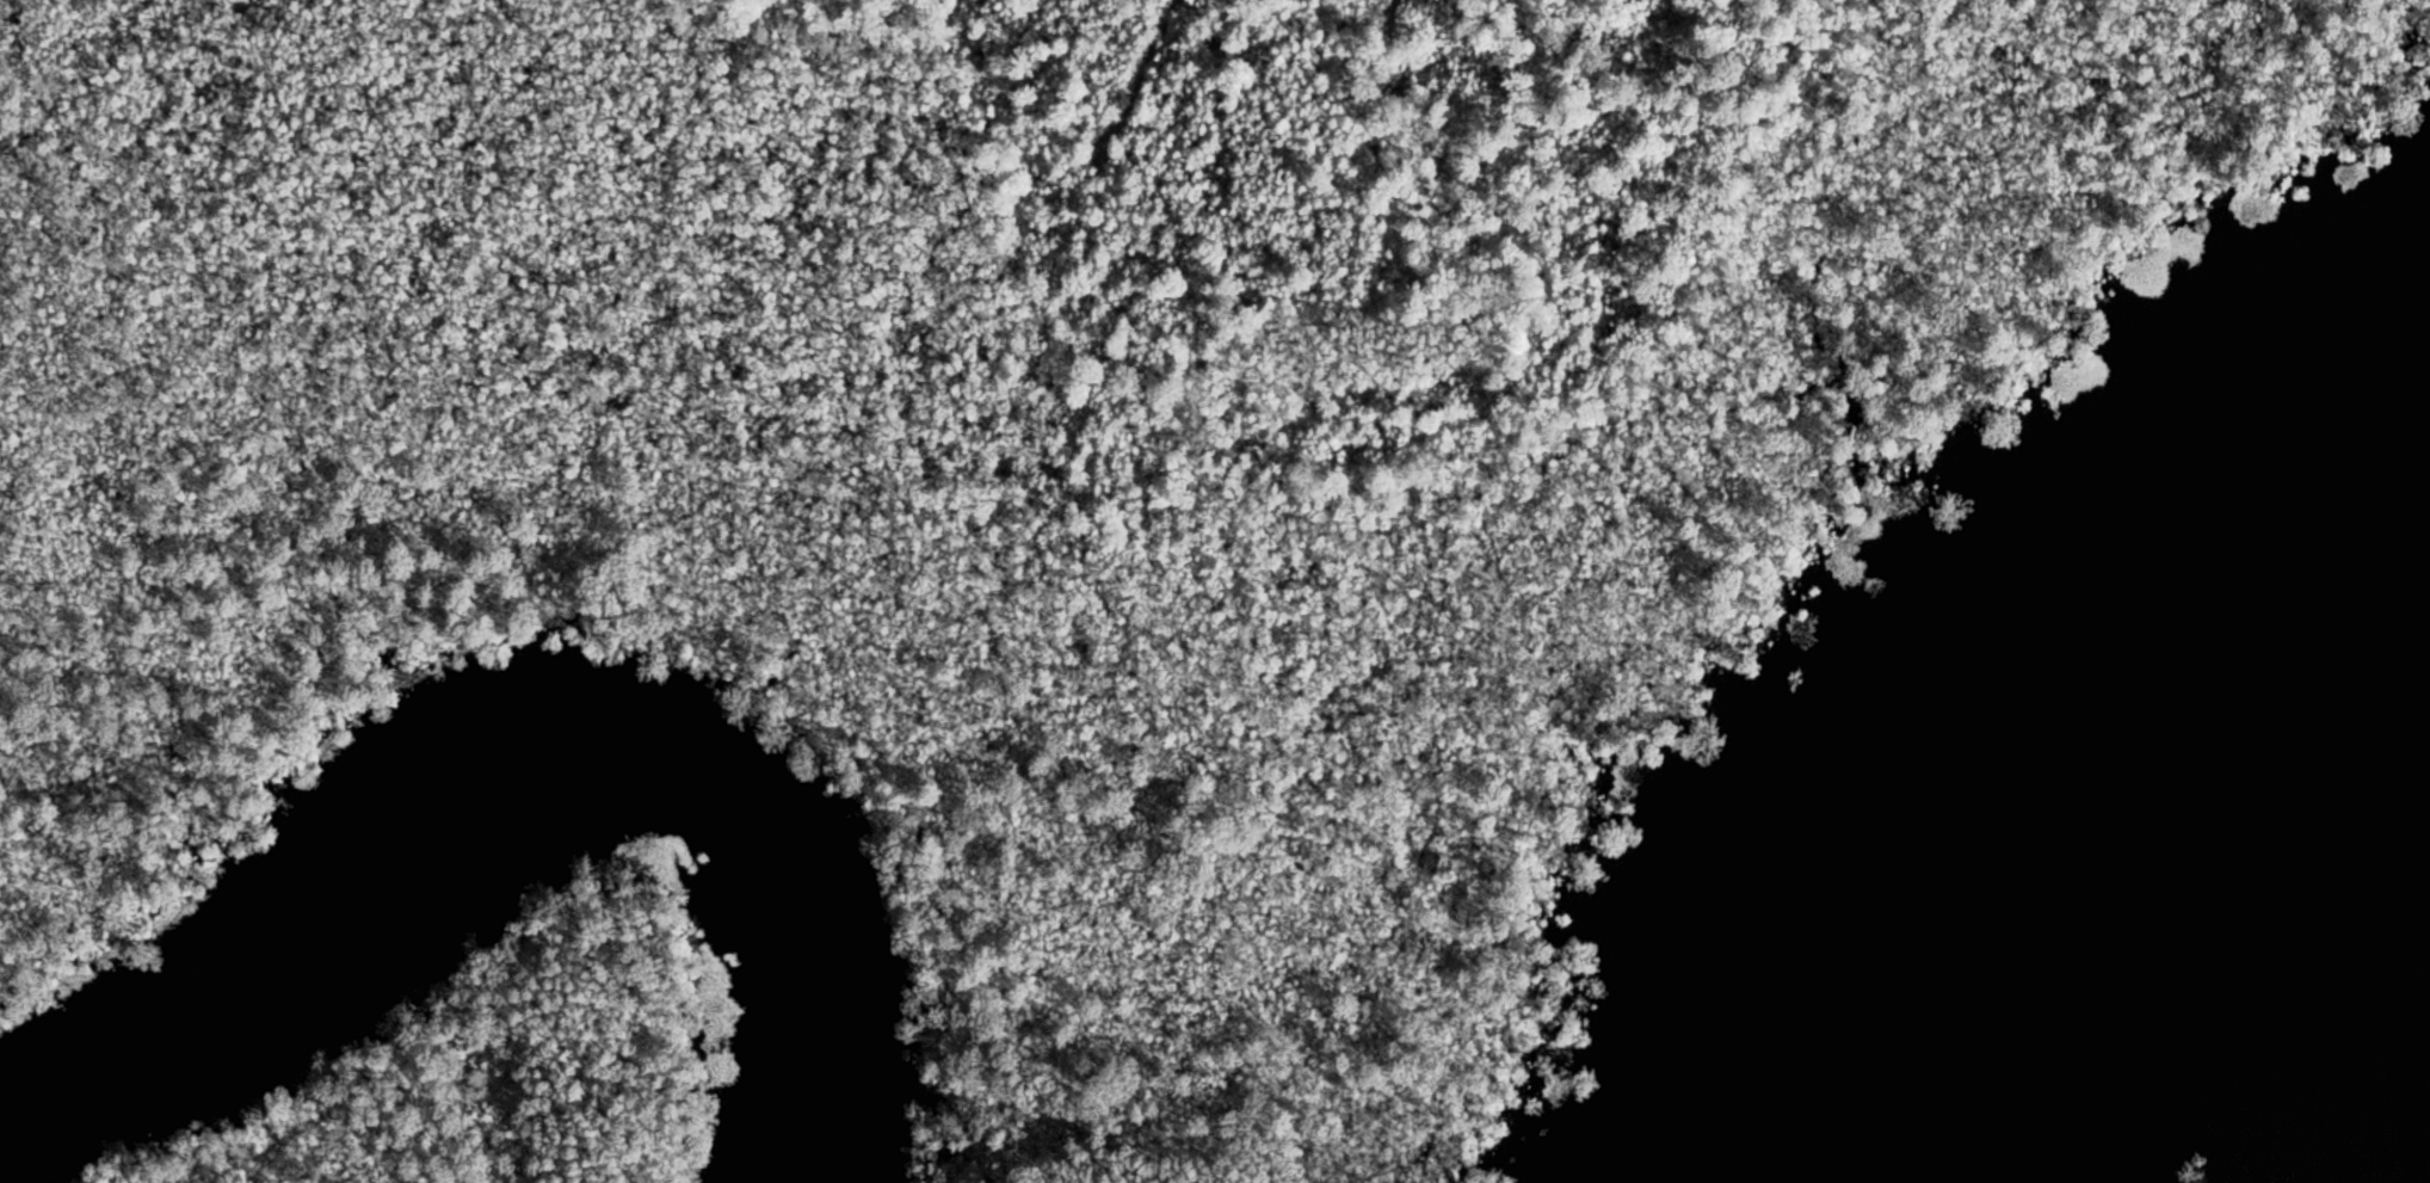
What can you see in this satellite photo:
park: (1048, 445)

